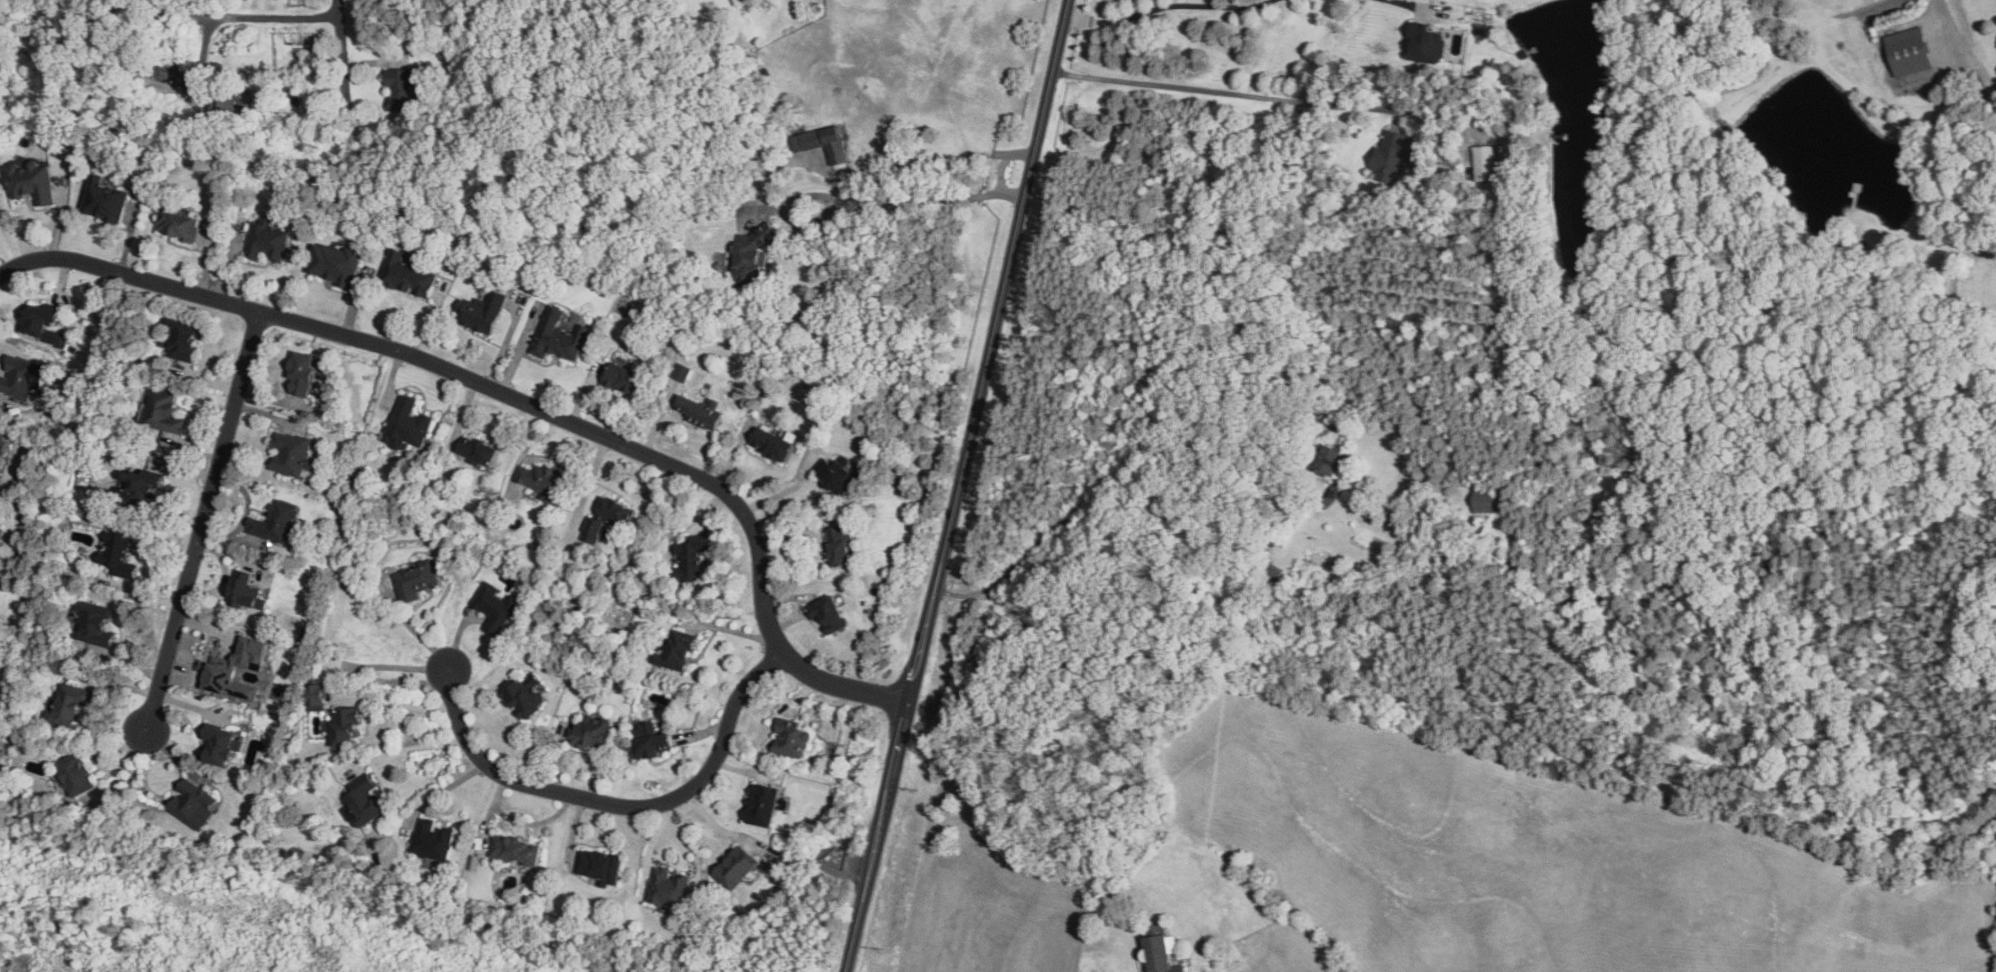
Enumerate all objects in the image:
building: (747, 0)
road: (1401, 1)
road: (1178, 4)
road: (242, 15)
road: (1077, 17)
building: (1426, 43)
road: (1964, 48)
building: (1909, 51)
road: (343, 56)
building: (403, 89)
road: (1221, 91)
building: (225, 100)
building: (823, 143)
building: (1395, 155)
building: (1487, 164)
building: (33, 181)
building: (105, 199)
road: (908, 202)
building: (722, 210)
building: (180, 221)
building: (267, 240)
building: (753, 254)
building: (336, 263)
building: (410, 274)
road: (1002, 294)
building: (481, 312)
building: (42, 323)
building: (558, 335)
building: (182, 338)
building: (682, 372)
building: (302, 373)
building: (624, 377)
building: (19, 378)
road: (517, 396)
building: (700, 410)
building: (165, 412)
building: (407, 424)
road: (1234, 433)
building: (3, 441)
building: (772, 443)
building: (478, 449)
building: (292, 453)
road: (1160, 454)
building: (1330, 461)
building: (839, 473)
building: (543, 480)
building: (143, 483)
building: (1484, 500)
building: (609, 516)
road: (203, 519)
building: (277, 522)
building: (1, 530)
road: (1049, 538)
building: (840, 544)
building: (119, 554)
building: (693, 560)
building: (416, 580)
building: (247, 592)
building: (496, 606)
building: (830, 614)
building: (94, 623)
building: (677, 649)
building: (222, 669)
building: (524, 696)
building: (316, 697)
building: (71, 703)
building: (343, 726)
building: (592, 733)
building: (792, 738)
building: (650, 740)
building: (221, 744)
road: (405, 745)
building: (78, 773)
road: (891, 780)
road: (448, 789)
building: (193, 804)
building: (362, 804)
road: (620, 804)
building: (762, 804)
building: (433, 840)
building: (516, 850)
building: (600, 866)
building: (736, 868)
building: (670, 888)
building: (1162, 949)

